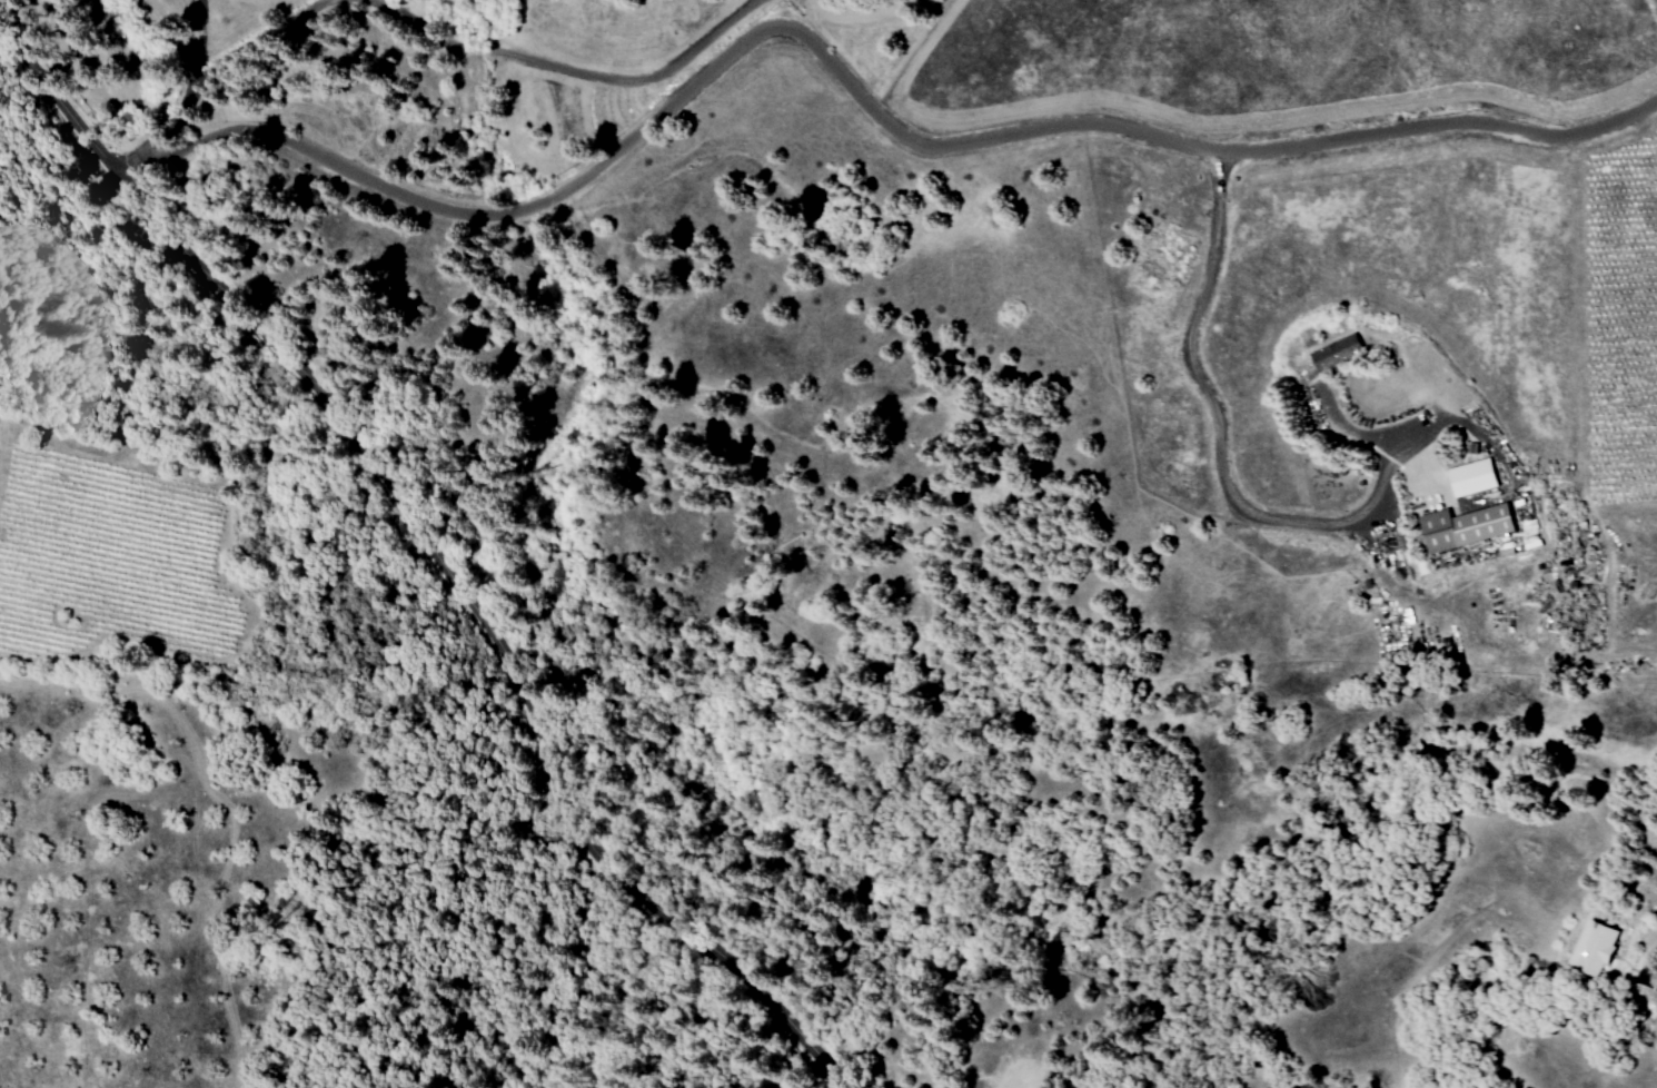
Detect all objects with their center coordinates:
road: (214, 31)
road: (570, 69)
road: (214, 72)
road: (856, 83)
crop: (1617, 306)
building: (1347, 354)
road: (1428, 467)
building: (1477, 478)
road: (1232, 492)
building: (1470, 527)
building: (1525, 528)
road: (457, 543)
building: (1603, 946)
road: (1651, 975)

